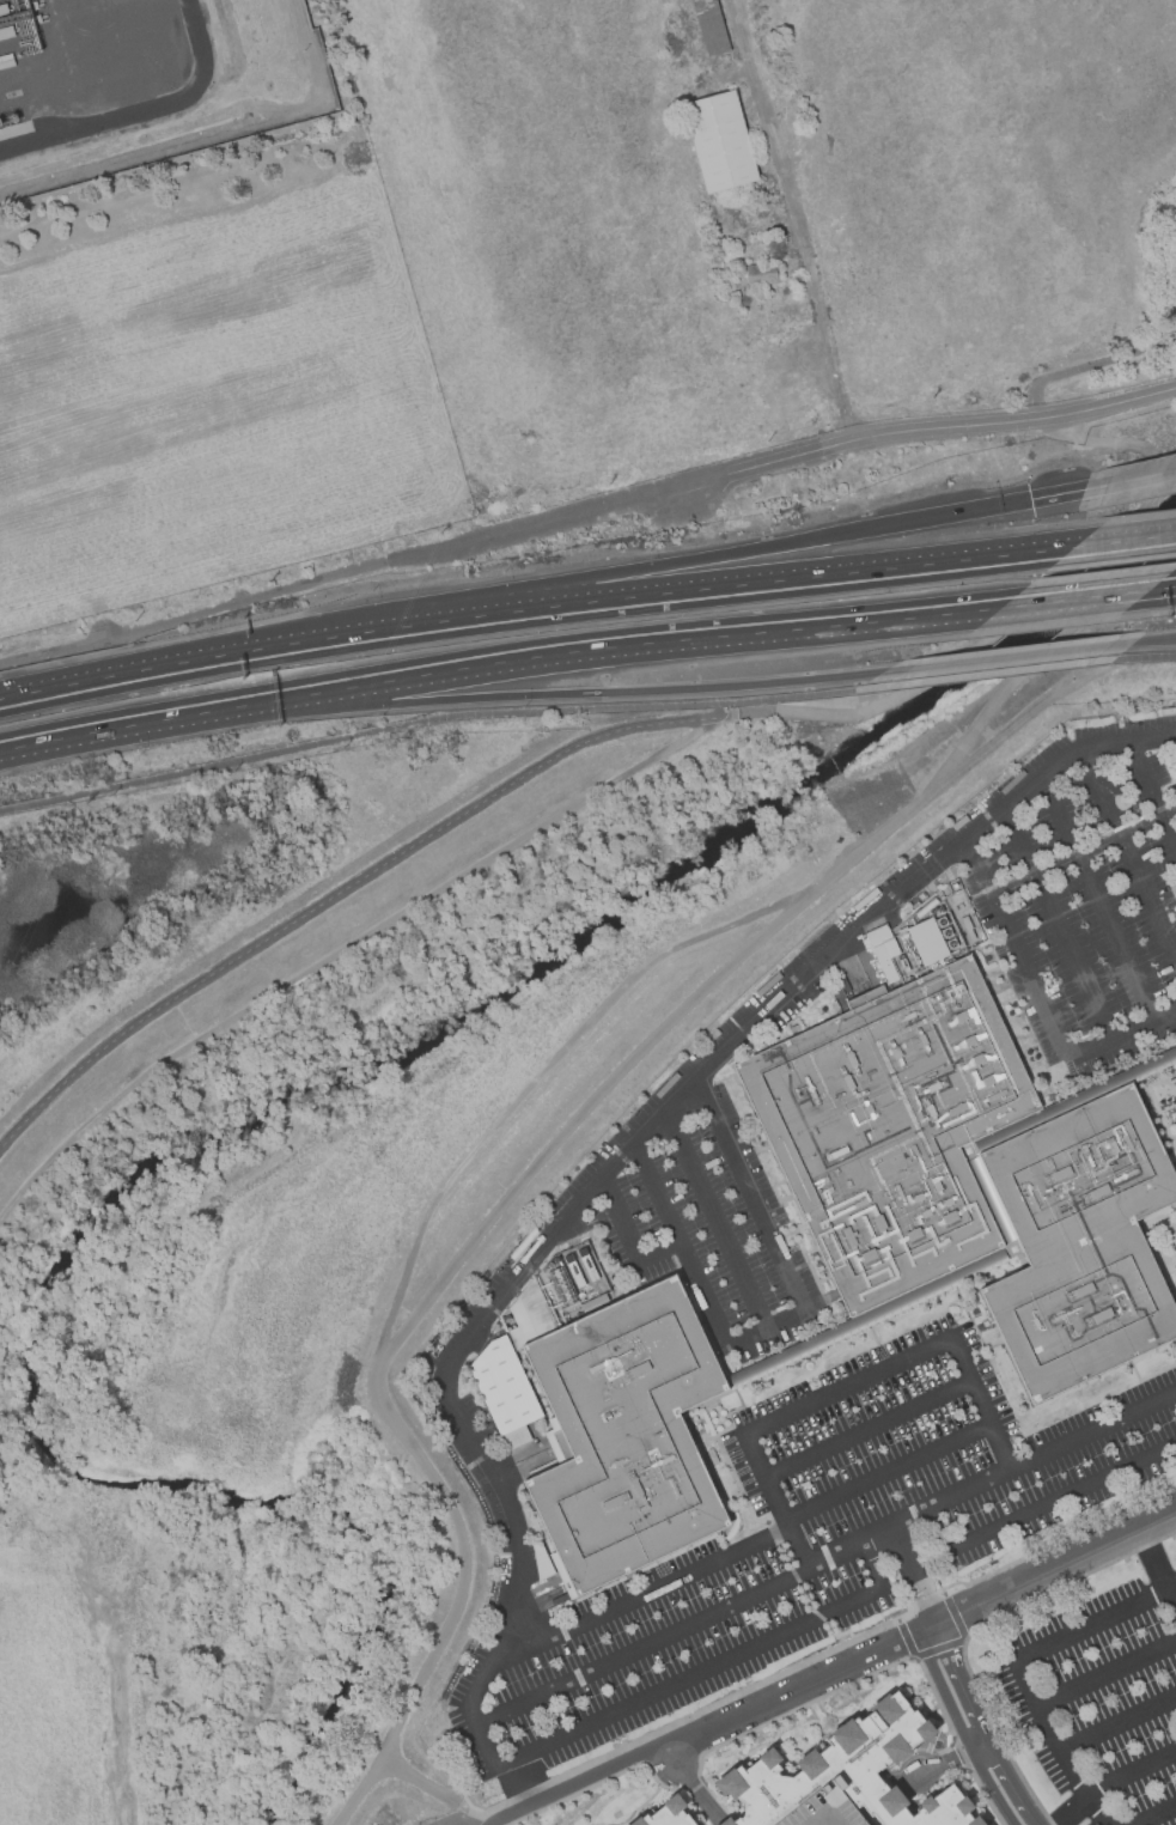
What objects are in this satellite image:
building: (711, 26)
power plant: (147, 84)
road: (142, 108)
building: (719, 140)
crop: (763, 217)
road: (800, 220)
building: (787, 253)
building: (758, 274)
crop: (212, 403)
road: (779, 461)
road: (1131, 480)
road: (1058, 495)
traffic signals: (1030, 500)
road: (1126, 541)
road: (739, 549)
road: (764, 582)
road: (1159, 594)
road: (1068, 604)
road: (194, 612)
road: (339, 639)
road: (1156, 640)
road: (660, 647)
road: (1147, 657)
road: (1011, 658)
road: (986, 675)
road: (110, 682)
road: (608, 693)
road: (1031, 714)
road: (164, 726)
road: (421, 726)
road: (1152, 795)
road: (1169, 811)
road: (1128, 852)
road: (342, 888)
road: (1097, 898)
road: (1056, 924)
road: (342, 948)
road: (1014, 948)
road: (1123, 1035)
river: (256, 1107)
road: (578, 1121)
building: (894, 1130)
road: (607, 1170)
road: (750, 1194)
road: (715, 1219)
road: (627, 1240)
building: (1083, 1240)
road: (680, 1242)
parking lot: (828, 1306)
road: (784, 1320)
building: (501, 1386)
road: (842, 1386)
road: (505, 1392)
road: (981, 1403)
road: (867, 1428)
building: (627, 1429)
building: (514, 1436)
road: (888, 1472)
road: (776, 1502)
road: (1043, 1507)
road: (824, 1558)
parking lot: (1175, 1559)
road: (1152, 1561)
road: (1055, 1567)
road: (913, 1575)
road: (641, 1595)
road: (1171, 1601)
road: (1097, 1625)
road: (926, 1626)
road: (711, 1668)
road: (958, 1671)
road: (1107, 1673)
road: (853, 1680)
parking lot: (1102, 1698)
road: (847, 1715)
road: (1119, 1724)
road: (702, 1726)
road: (959, 1730)
road: (985, 1732)
road: (928, 1741)
fountain: (936, 1744)
road: (979, 1746)
road: (1059, 1746)
road: (780, 1752)
road: (959, 1752)
road: (669, 1754)
road: (943, 1762)
road: (742, 1763)
building: (846, 1774)
road: (913, 1774)
road: (1131, 1774)
road: (599, 1781)
road: (1012, 1781)
road: (693, 1787)
road: (437, 1789)
road: (699, 1791)
road: (982, 1793)
road: (965, 1794)
road: (693, 1796)
building: (821, 1809)
parking garage: (821, 1809)
road: (634, 1811)
road: (1072, 1812)
building: (664, 1813)
road: (1158, 1815)
road: (1037, 1821)
road: (487, 1823)
road: (598, 1824)

